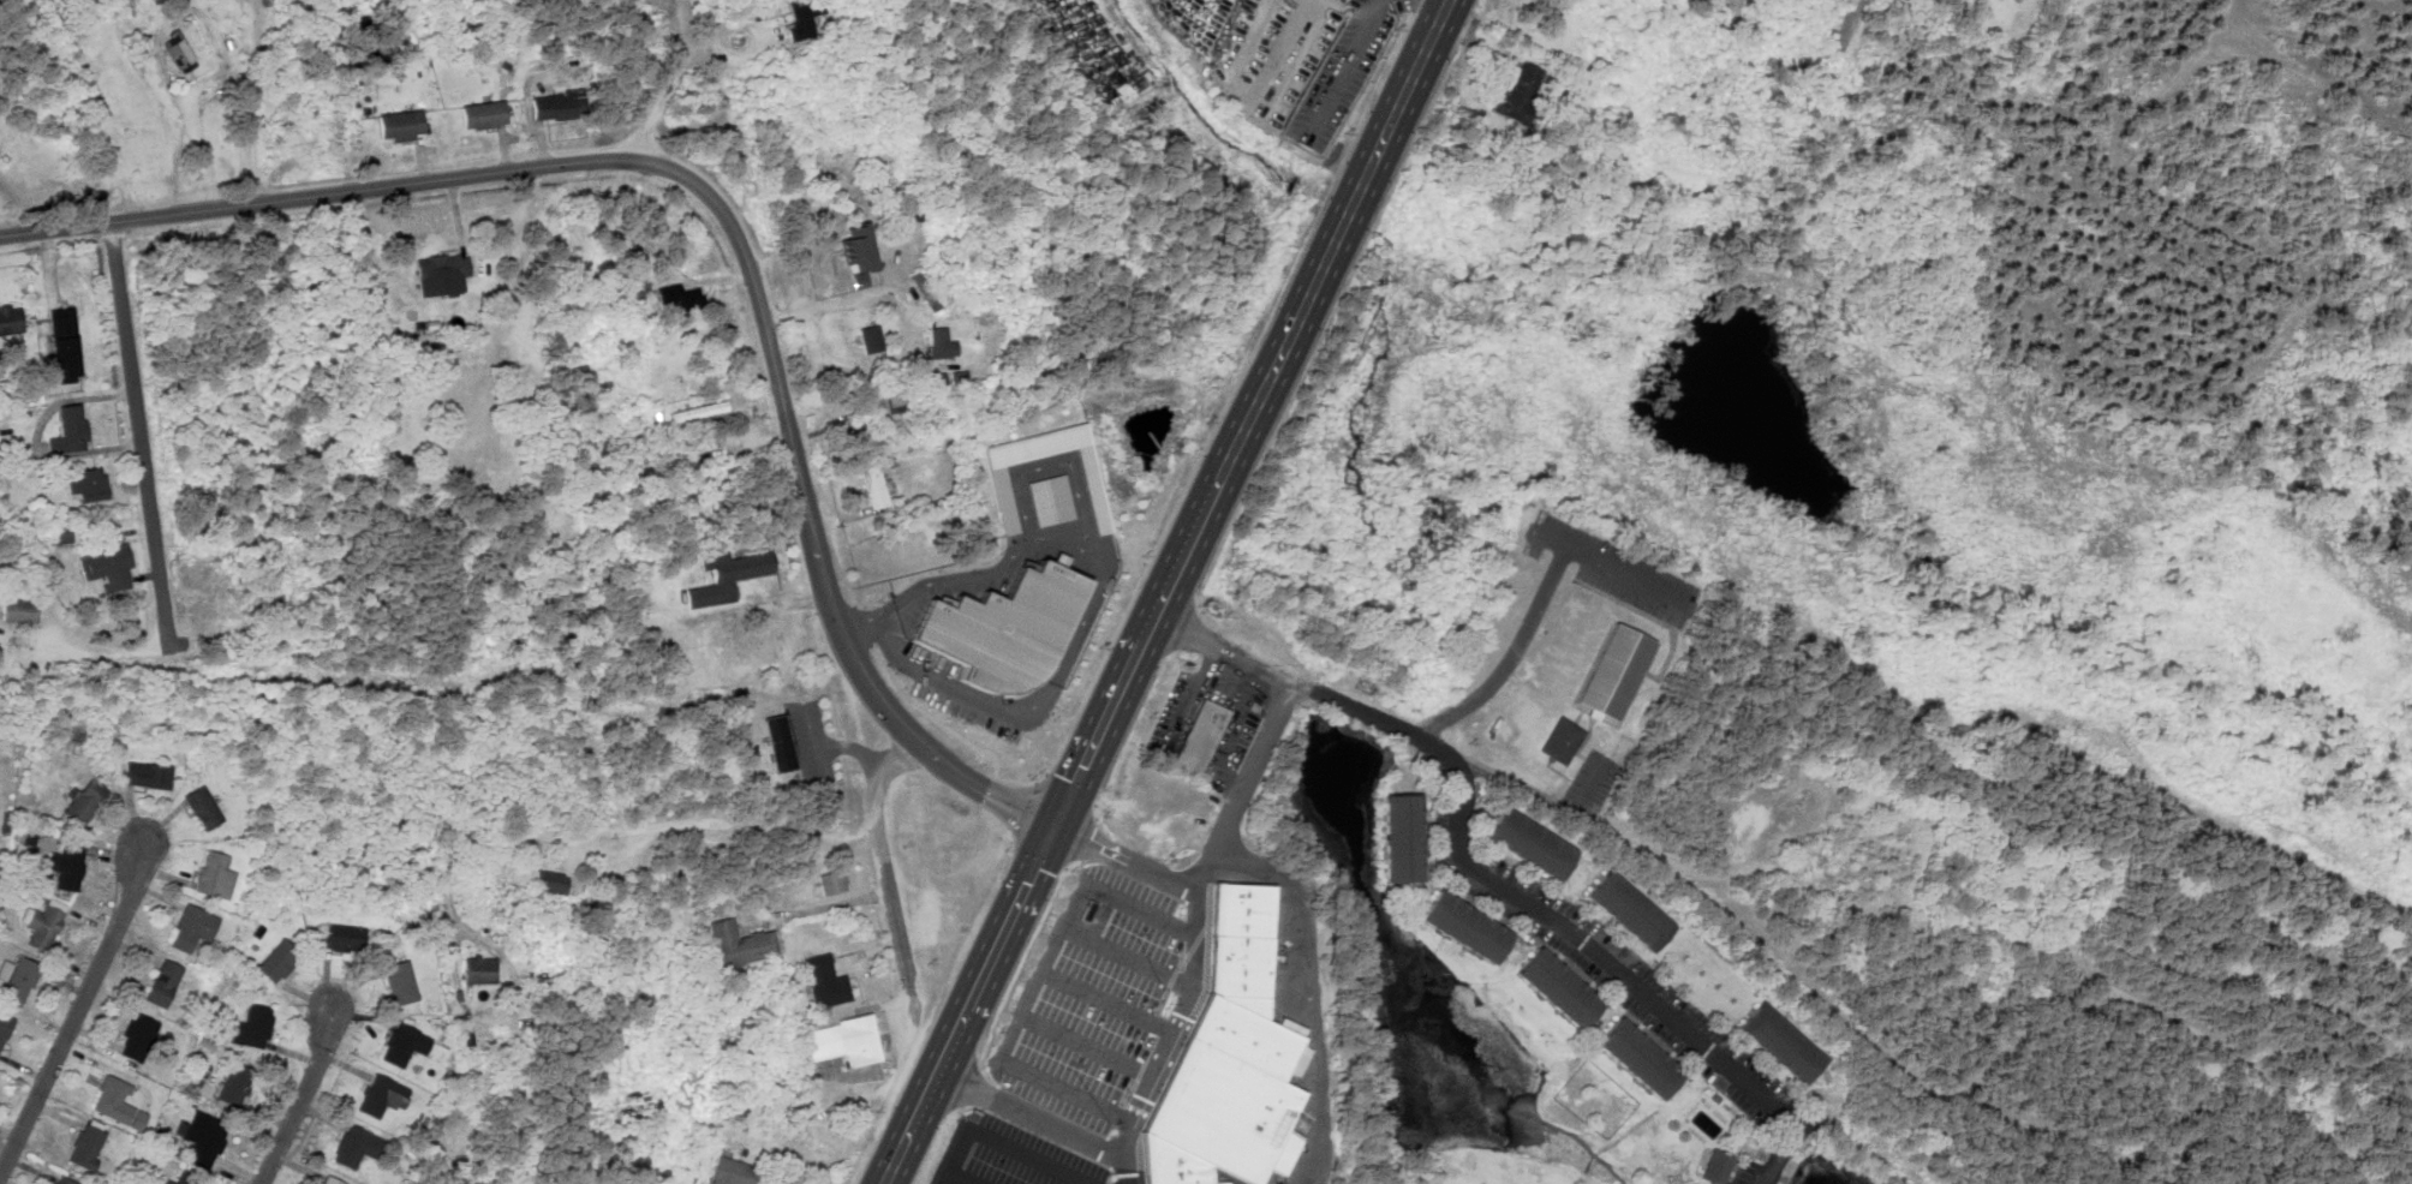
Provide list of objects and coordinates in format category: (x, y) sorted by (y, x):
building: (156, 1)
building: (802, 17)
road: (1839, 36)
building: (179, 52)
road: (676, 82)
road: (1410, 94)
building: (1520, 94)
building: (559, 106)
building: (483, 115)
building: (400, 125)
road: (722, 207)
building: (859, 247)
building: (442, 267)
building: (860, 280)
building: (926, 289)
building: (681, 297)
building: (10, 319)
dam: (1706, 327)
building: (871, 339)
building: (65, 342)
building: (942, 343)
building: (950, 378)
dam: (1676, 396)
building: (890, 405)
building: (699, 411)
building: (70, 430)
road: (138, 435)
building: (89, 484)
building: (874, 485)
building: (1003, 497)
building: (1050, 500)
building: (107, 567)
building: (727, 576)
building: (18, 611)
building: (1003, 629)
building: (1611, 672)
road: (1126, 686)
building: (1201, 735)
building: (1559, 741)
building: (780, 743)
building: (148, 775)
building: (84, 800)
building: (203, 807)
traffic signals: (1056, 830)
road: (604, 832)
building: (1403, 838)
building: (1530, 843)
road: (1470, 844)
road: (1214, 849)
road: (882, 860)
building: (66, 868)
building: (215, 875)
building: (551, 881)
building: (832, 881)
building: (1629, 910)
building: (43, 923)
building: (1467, 926)
building: (192, 928)
building: (344, 938)
dam: (1368, 943)
building: (740, 944)
building: (277, 961)
building: (479, 970)
building: (1704, 976)
building: (18, 979)
building: (401, 982)
building: (826, 982)
building: (162, 983)
road: (1038, 985)
building: (1559, 987)
road: (74, 1015)
building: (252, 1027)
building: (4, 1028)
building: (139, 1033)
building: (844, 1041)
building: (1781, 1042)
building: (404, 1045)
building: (1640, 1058)
building: (1232, 1060)
building: (234, 1084)
building: (382, 1095)
road: (294, 1100)
building: (117, 1102)
road: (1136, 1119)
building: (203, 1135)
road: (1003, 1142)
building: (356, 1146)
building: (86, 1147)
building: (814, 1150)
road: (1783, 1152)
building: (1717, 1167)
road: (1123, 1170)
building: (733, 1172)
dam: (1809, 1174)
building: (180, 1179)
building: (62, 1180)
building: (329, 1180)

